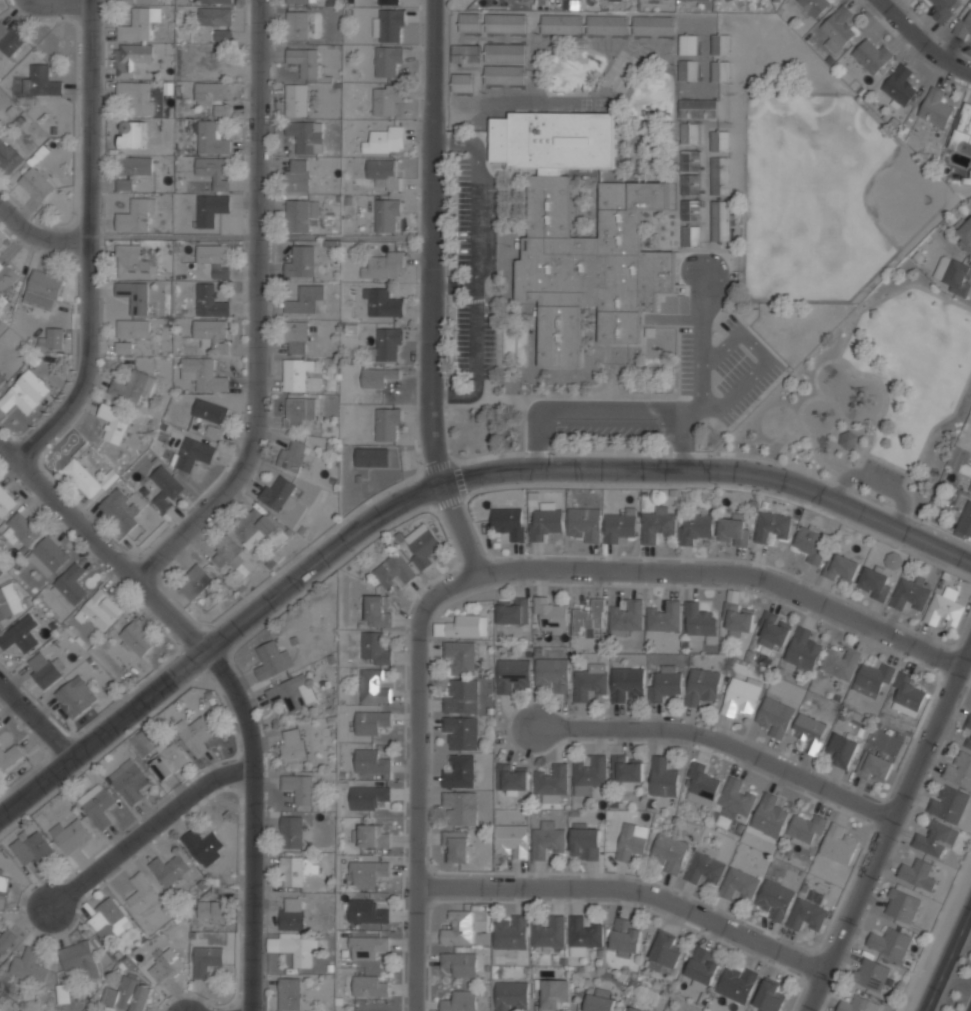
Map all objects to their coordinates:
building: (126, 0)
building: (684, 0)
building: (728, 0)
building: (301, 1)
building: (215, 2)
building: (391, 2)
building: (517, 2)
building: (813, 6)
building: (945, 8)
building: (215, 16)
building: (470, 21)
building: (505, 22)
building: (561, 23)
building: (965, 23)
building: (607, 24)
building: (139, 25)
building: (297, 25)
building: (390, 25)
building: (653, 25)
building: (838, 29)
building: (223, 35)
building: (8, 39)
road: (921, 40)
building: (687, 43)
building: (720, 43)
building: (505, 52)
building: (466, 53)
building: (871, 55)
building: (387, 59)
building: (131, 60)
building: (303, 61)
building: (688, 69)
building: (720, 70)
building: (505, 74)
building: (43, 80)
building: (462, 82)
building: (900, 85)
building: (211, 92)
building: (136, 96)
building: (386, 98)
building: (297, 99)
building: (935, 107)
building: (698, 108)
building: (962, 126)
building: (689, 132)
building: (303, 135)
building: (210, 138)
building: (385, 139)
building: (719, 140)
building: (8, 156)
building: (689, 159)
building: (135, 166)
building: (214, 172)
building: (384, 172)
building: (297, 175)
building: (720, 175)
building: (968, 176)
building: (690, 183)
building: (36, 184)
building: (124, 185)
building: (211, 209)
building: (690, 209)
building: (300, 213)
building: (387, 215)
building: (135, 216)
building: (721, 220)
road: (40, 225)
building: (691, 235)
building: (964, 235)
road: (172, 236)
road: (91, 238)
building: (581, 244)
building: (214, 258)
building: (301, 261)
building: (132, 263)
building: (384, 265)
building: (956, 275)
building: (6, 276)
building: (43, 289)
road: (432, 290)
building: (134, 295)
building: (210, 300)
building: (307, 300)
building: (382, 303)
road: (253, 305)
building: (133, 328)
building: (212, 333)
building: (296, 337)
building: (52, 338)
building: (388, 344)
building: (123, 346)
building: (203, 374)
building: (301, 375)
building: (378, 376)
building: (2, 379)
building: (132, 385)
building: (26, 392)
building: (210, 411)
building: (300, 412)
building: (113, 422)
building: (387, 424)
building: (215, 432)
building: (849, 439)
building: (192, 454)
building: (292, 455)
building: (82, 478)
road: (438, 478)
building: (165, 487)
building: (969, 489)
building: (277, 493)
building: (6, 503)
building: (121, 510)
building: (965, 520)
building: (508, 523)
building: (544, 523)
building: (584, 523)
building: (254, 524)
building: (620, 525)
building: (657, 526)
building: (771, 527)
building: (694, 528)
building: (24, 529)
building: (735, 529)
building: (421, 544)
building: (811, 545)
building: (227, 552)
building: (50, 554)
building: (842, 569)
building: (393, 570)
road: (729, 574)
building: (195, 582)
building: (875, 583)
building: (70, 584)
building: (909, 595)
building: (9, 601)
building: (944, 608)
building: (99, 609)
building: (377, 611)
building: (512, 613)
building: (550, 615)
building: (664, 617)
building: (626, 618)
building: (737, 618)
building: (589, 619)
building: (700, 622)
building: (463, 627)
building: (439, 629)
building: (774, 630)
building: (20, 635)
building: (136, 638)
building: (374, 648)
building: (803, 649)
building: (462, 658)
building: (272, 659)
building: (841, 662)
building: (43, 669)
building: (552, 674)
road: (227, 676)
building: (513, 677)
building: (873, 679)
building: (664, 682)
building: (588, 684)
building: (627, 684)
building: (702, 685)
building: (373, 688)
building: (292, 692)
building: (740, 694)
building: (907, 694)
building: (75, 695)
building: (461, 697)
building: (775, 715)
road: (36, 716)
building: (371, 722)
building: (969, 724)
building: (808, 732)
building: (461, 734)
building: (195, 735)
building: (884, 741)
building: (142, 743)
road: (724, 743)
building: (969, 743)
building: (293, 744)
building: (843, 747)
building: (8, 756)
building: (370, 761)
building: (169, 762)
building: (874, 765)
building: (960, 769)
building: (628, 770)
building: (460, 773)
building: (590, 773)
road: (418, 776)
building: (663, 776)
building: (511, 780)
building: (128, 782)
building: (551, 782)
building: (700, 784)
building: (300, 789)
building: (368, 796)
building: (736, 796)
building: (949, 803)
building: (98, 806)
building: (461, 809)
building: (769, 815)
road: (149, 826)
building: (806, 827)
road: (887, 828)
building: (291, 832)
building: (70, 836)
building: (372, 836)
building: (935, 838)
building: (510, 842)
building: (547, 842)
building: (631, 842)
building: (585, 844)
building: (838, 844)
building: (202, 845)
building: (456, 846)
building: (31, 848)
building: (668, 853)
building: (704, 868)
building: (170, 869)
building: (296, 870)
building: (367, 871)
building: (1, 872)
building: (917, 873)
building: (739, 884)
road: (629, 887)
building: (4, 894)
building: (142, 894)
building: (774, 900)
building: (902, 904)
building: (211, 910)
building: (366, 910)
building: (291, 914)
building: (806, 914)
building: (108, 921)
building: (459, 928)
building: (548, 933)
building: (583, 933)
building: (510, 934)
road: (936, 934)
building: (626, 937)
building: (7, 941)
building: (889, 941)
building: (367, 946)
building: (295, 947)
building: (665, 951)
road: (947, 959)
building: (79, 960)
building: (206, 960)
building: (165, 964)
building: (460, 965)
building: (702, 966)
building: (28, 967)
building: (871, 973)
building: (737, 983)
building: (370, 985)
road: (195, 993)
building: (129, 994)
building: (289, 994)
building: (553, 994)
building: (63, 995)
building: (769, 996)
building: (511, 997)
building: (460, 1001)
building: (599, 1002)
building: (858, 1004)
building: (633, 1009)

